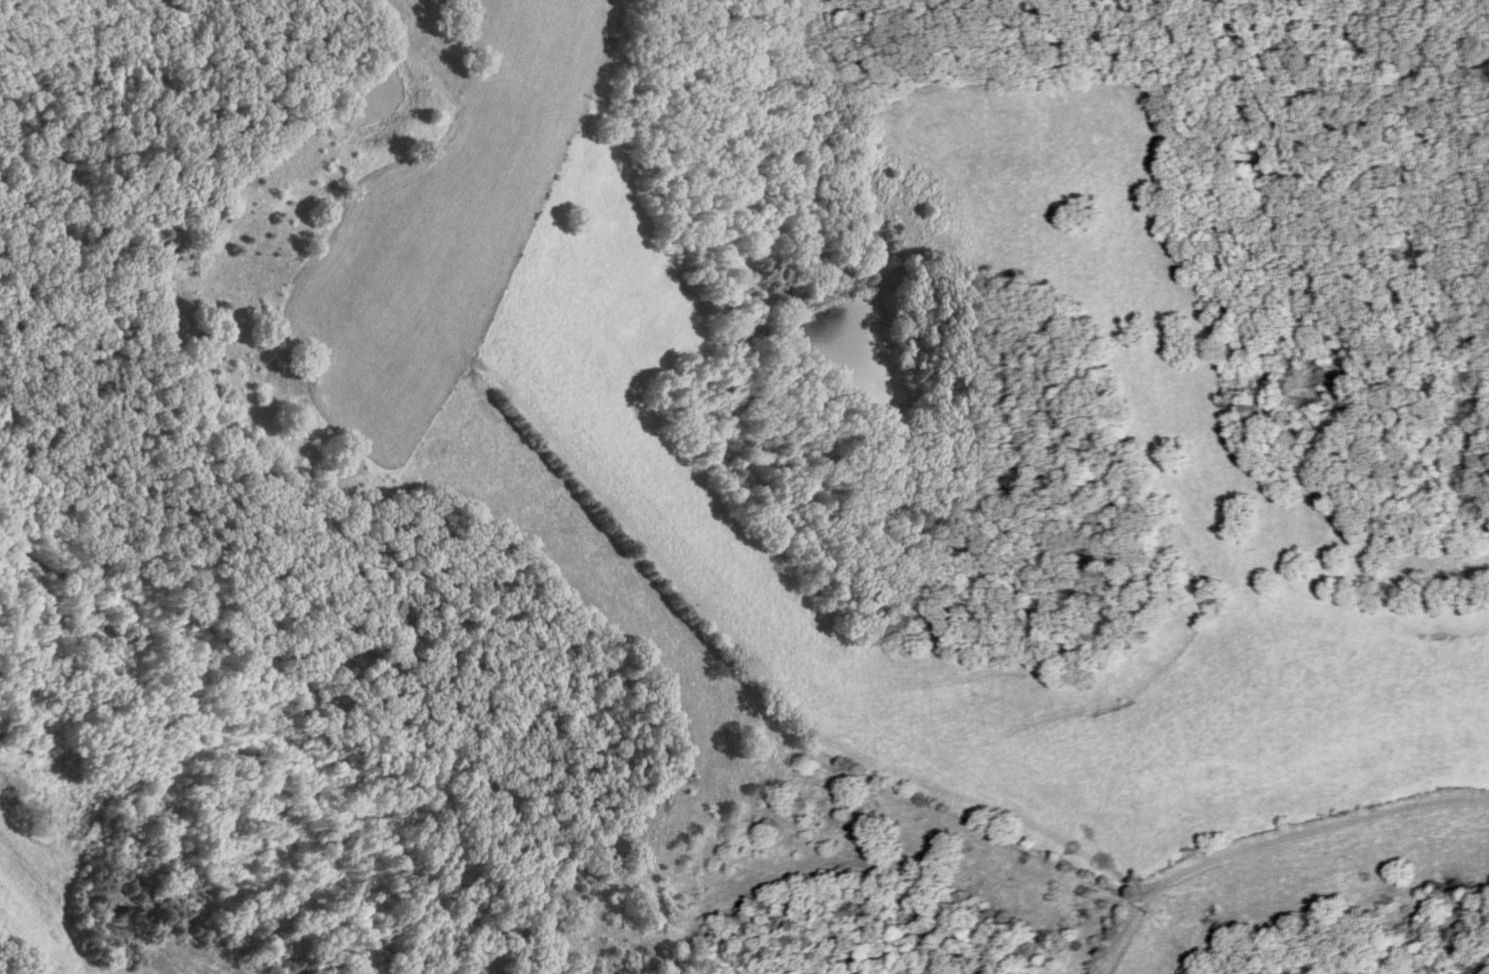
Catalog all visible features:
road: (1272, 843)

